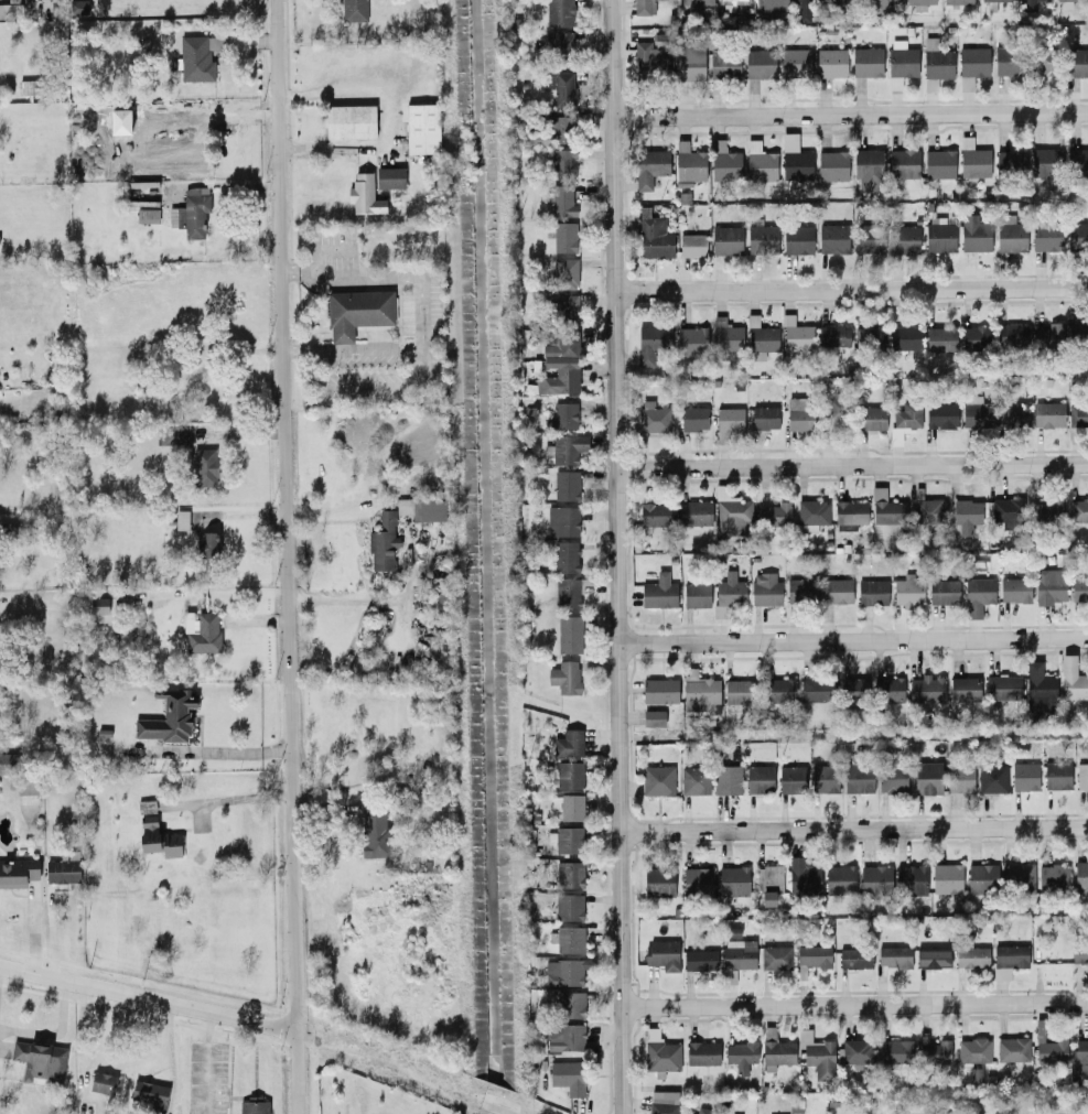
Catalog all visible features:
building: (845, 0)
building: (887, 0)
building: (997, 0)
building: (1066, 0)
building: (697, 1)
building: (957, 1)
building: (919, 3)
building: (730, 4)
building: (771, 4)
building: (1027, 4)
building: (78, 7)
building: (644, 7)
building: (9, 10)
building: (353, 10)
building: (801, 11)
building: (559, 12)
building: (561, 44)
building: (200, 56)
building: (650, 60)
building: (1043, 60)
building: (1011, 61)
building: (795, 62)
building: (866, 62)
building: (901, 62)
building: (973, 62)
building: (689, 63)
building: (831, 63)
building: (1078, 63)
building: (724, 64)
building: (760, 64)
building: (966, 83)
building: (29, 87)
building: (563, 88)
road: (851, 113)
road: (385, 118)
building: (349, 121)
building: (422, 129)
building: (561, 129)
building: (973, 161)
building: (1011, 161)
building: (1077, 161)
building: (724, 162)
building: (760, 162)
building: (1046, 162)
building: (939, 163)
building: (689, 164)
building: (904, 164)
building: (796, 165)
building: (832, 165)
building: (650, 166)
building: (869, 169)
building: (389, 177)
building: (364, 194)
building: (190, 213)
building: (974, 232)
building: (1010, 234)
building: (939, 235)
building: (654, 236)
building: (1077, 236)
building: (564, 237)
building: (1046, 237)
building: (833, 238)
building: (869, 238)
building: (904, 238)
building: (797, 239)
building: (726, 240)
building: (692, 245)
road: (324, 250)
building: (564, 273)
road: (851, 290)
building: (565, 306)
building: (357, 312)
road: (419, 328)
road: (342, 334)
building: (1078, 334)
building: (725, 335)
building: (796, 335)
building: (1012, 335)
building: (761, 336)
building: (833, 336)
building: (869, 336)
building: (1048, 336)
building: (905, 337)
building: (977, 338)
building: (940, 339)
building: (691, 340)
building: (650, 343)
building: (561, 346)
road: (349, 351)
building: (558, 381)
building: (832, 411)
building: (977, 412)
building: (800, 413)
building: (564, 414)
building: (1013, 414)
building: (1049, 414)
building: (907, 415)
building: (941, 415)
building: (1077, 415)
building: (653, 418)
building: (693, 418)
building: (764, 418)
building: (872, 418)
building: (729, 419)
building: (173, 433)
building: (568, 448)
road: (852, 464)
building: (203, 467)
building: (565, 485)
building: (421, 509)
building: (887, 509)
building: (1079, 510)
building: (929, 511)
building: (1047, 511)
building: (842, 512)
building: (1008, 512)
building: (656, 513)
building: (694, 513)
road: (284, 515)
building: (774, 515)
building: (811, 515)
building: (966, 516)
building: (733, 517)
building: (181, 520)
building: (562, 520)
building: (383, 542)
building: (207, 543)
building: (564, 556)
road: (618, 556)
building: (1049, 585)
building: (765, 588)
building: (1079, 588)
building: (1014, 590)
building: (801, 591)
building: (837, 591)
building: (907, 591)
building: (658, 592)
building: (872, 592)
building: (944, 592)
building: (568, 593)
building: (730, 593)
building: (696, 595)
building: (978, 595)
building: (439, 603)
building: (98, 605)
building: (202, 632)
building: (569, 634)
road: (853, 639)
building: (564, 677)
building: (1071, 680)
building: (965, 688)
building: (1002, 688)
building: (1039, 688)
building: (888, 689)
building: (780, 690)
building: (817, 690)
building: (854, 690)
building: (927, 690)
building: (659, 691)
building: (739, 691)
building: (168, 716)
building: (653, 717)
building: (569, 743)
road: (243, 751)
building: (8, 763)
building: (569, 775)
building: (1057, 776)
building: (1025, 777)
building: (1081, 777)
building: (823, 778)
building: (859, 778)
building: (927, 778)
building: (992, 778)
building: (758, 779)
building: (791, 779)
building: (892, 779)
building: (960, 779)
building: (657, 780)
building: (694, 780)
building: (728, 780)
building: (28, 786)
road: (244, 799)
building: (146, 807)
building: (569, 807)
road: (853, 830)
building: (374, 831)
building: (158, 839)
building: (568, 840)
building: (63, 867)
building: (17, 873)
building: (569, 875)
building: (1080, 875)
building: (804, 877)
building: (1017, 877)
building: (1053, 877)
building: (947, 878)
building: (982, 878)
building: (875, 879)
building: (912, 879)
building: (733, 880)
building: (840, 880)
building: (658, 882)
building: (697, 882)
building: (768, 883)
building: (568, 906)
building: (568, 939)
building: (663, 954)
building: (739, 954)
building: (1079, 954)
building: (815, 955)
building: (894, 956)
building: (775, 958)
building: (854, 958)
building: (933, 958)
building: (972, 958)
building: (700, 960)
building: (1008, 960)
building: (565, 971)
road: (146, 998)
road: (855, 1004)
building: (565, 1037)
building: (1012, 1049)
building: (775, 1050)
building: (973, 1050)
building: (895, 1051)
building: (1052, 1051)
building: (857, 1052)
building: (935, 1052)
building: (702, 1053)
building: (741, 1054)
building: (817, 1054)
building: (661, 1056)
building: (1081, 1056)
building: (40, 1061)
road: (379, 1063)
road: (292, 1072)
building: (569, 1077)
building: (103, 1082)
building: (149, 1093)
building: (663, 1102)
road: (488, 1105)
building: (254, 1106)
building: (703, 1111)

